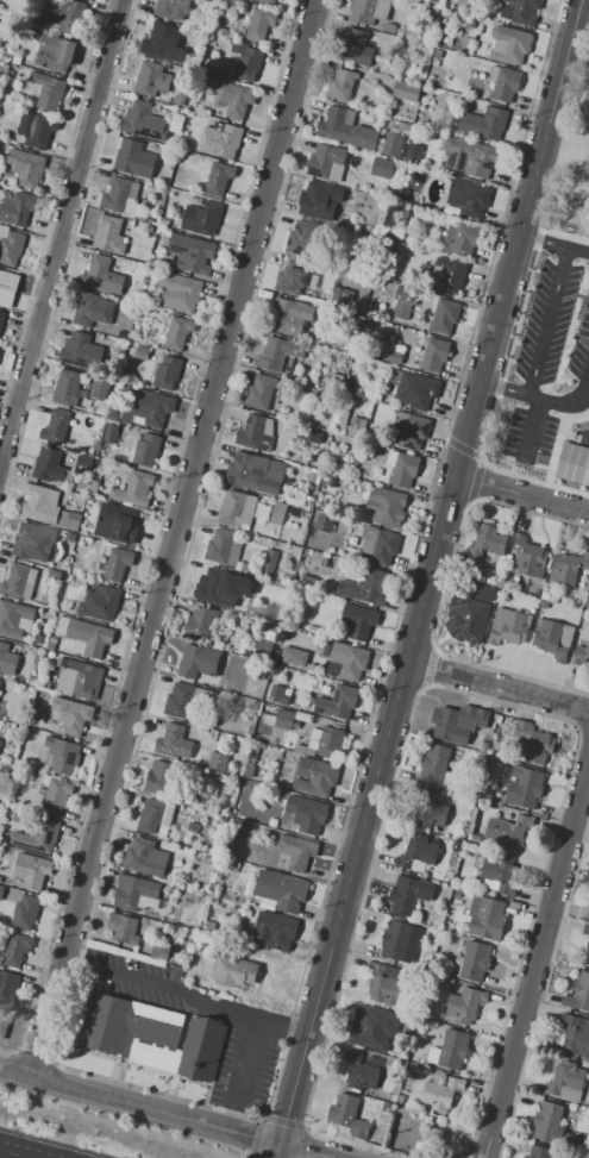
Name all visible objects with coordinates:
building: (265, 1)
building: (469, 4)
building: (171, 10)
building: (368, 11)
building: (519, 11)
building: (65, 14)
building: (432, 19)
building: (258, 24)
road: (571, 24)
road: (577, 24)
building: (389, 27)
building: (2, 31)
building: (414, 36)
road: (579, 36)
building: (468, 37)
building: (508, 44)
building: (153, 45)
building: (409, 46)
building: (353, 48)
building: (55, 54)
building: (437, 54)
building: (6, 57)
building: (245, 61)
building: (434, 62)
building: (4, 68)
building: (203, 68)
building: (11, 70)
building: (219, 74)
building: (151, 79)
building: (475, 80)
building: (503, 83)
building: (340, 84)
building: (48, 90)
building: (406, 90)
building: (230, 96)
building: (180, 100)
building: (143, 121)
building: (176, 123)
building: (483, 123)
building: (337, 125)
building: (403, 126)
building: (39, 132)
building: (363, 138)
building: (219, 139)
building: (182, 145)
building: (391, 145)
building: (153, 148)
building: (127, 156)
building: (469, 157)
building: (413, 158)
building: (324, 159)
building: (25, 167)
building: (381, 167)
building: (218, 179)
building: (118, 194)
building: (468, 198)
building: (312, 200)
building: (17, 208)
building: (201, 218)
building: (149, 220)
building: (346, 224)
building: (148, 229)
road: (61, 230)
building: (108, 234)
building: (299, 237)
building: (460, 238)
building: (163, 240)
building: (426, 242)
building: (10, 245)
road: (554, 245)
building: (433, 246)
building: (190, 253)
building: (399, 259)
building: (418, 259)
building: (450, 275)
building: (101, 276)
building: (294, 281)
building: (6, 283)
building: (178, 293)
building: (342, 295)
building: (402, 301)
building: (89, 309)
building: (289, 315)
building: (584, 315)
building: (444, 317)
building: (1, 318)
building: (178, 332)
building: (383, 348)
building: (132, 349)
building: (80, 351)
building: (142, 352)
building: (278, 353)
building: (433, 355)
building: (394, 358)
building: (167, 373)
building: (334, 381)
building: (350, 384)
building: (65, 388)
building: (412, 389)
building: (98, 390)
building: (262, 392)
road: (538, 398)
building: (151, 408)
fountain: (180, 409)
building: (115, 412)
building: (342, 418)
building: (55, 426)
building: (355, 426)
building: (411, 431)
building: (109, 433)
building: (256, 433)
building: (95, 437)
building: (311, 437)
building: (146, 449)
building: (90, 451)
building: (572, 462)
building: (83, 463)
building: (48, 465)
building: (401, 469)
building: (249, 472)
building: (68, 476)
building: (311, 477)
building: (114, 482)
building: (331, 482)
building: (82, 483)
building: (93, 488)
building: (133, 490)
road: (522, 494)
building: (39, 503)
building: (384, 507)
building: (237, 508)
building: (277, 513)
building: (67, 520)
building: (324, 522)
building: (125, 527)
building: (62, 532)
building: (71, 537)
road: (171, 538)
building: (32, 542)
building: (485, 543)
building: (378, 545)
building: (223, 547)
building: (528, 557)
building: (269, 561)
building: (118, 564)
building: (566, 568)
building: (54, 575)
building: (19, 581)
building: (308, 581)
building: (209, 586)
building: (365, 588)
building: (484, 594)
building: (545, 595)
road: (424, 596)
building: (534, 600)
building: (99, 603)
building: (587, 603)
building: (257, 611)
building: (465, 618)
building: (14, 619)
building: (358, 621)
building: (199, 624)
building: (508, 627)
building: (84, 636)
building: (550, 640)
building: (220, 645)
building: (262, 645)
building: (50, 646)
building: (581, 653)
building: (281, 656)
building: (7, 661)
building: (346, 661)
building: (198, 662)
building: (77, 678)
building: (31, 681)
road: (497, 687)
building: (278, 694)
building: (184, 699)
building: (287, 699)
building: (337, 702)
building: (253, 706)
building: (76, 719)
building: (278, 719)
building: (499, 719)
building: (457, 722)
building: (173, 743)
building: (322, 743)
building: (533, 743)
building: (484, 745)
building: (61, 756)
building: (218, 762)
building: (436, 764)
building: (249, 770)
building: (315, 776)
building: (157, 778)
building: (524, 788)
building: (56, 795)
building: (223, 801)
building: (426, 810)
building: (308, 814)
building: (153, 815)
building: (19, 816)
building: (271, 821)
building: (507, 832)
building: (37, 834)
building: (460, 835)
building: (215, 843)
building: (456, 845)
building: (296, 851)
building: (415, 852)
building: (144, 857)
building: (31, 871)
building: (500, 874)
building: (211, 880)
building: (1, 890)
building: (281, 890)
building: (132, 891)
building: (457, 893)
building: (408, 894)
building: (24, 913)
building: (588, 913)
building: (152, 914)
building: (487, 918)
building: (208, 925)
building: (121, 928)
building: (275, 929)
building: (585, 929)
building: (400, 941)
building: (15, 949)
building: (158, 952)
road: (534, 953)
building: (587, 953)
building: (472, 962)
road: (74, 963)
building: (233, 970)
building: (386, 984)
building: (8, 985)
building: (578, 993)
road: (181, 995)
building: (464, 1004)
building: (2, 1025)
road: (293, 1026)
building: (372, 1027)
building: (130, 1031)
building: (574, 1037)
building: (200, 1049)
building: (450, 1050)
road: (243, 1062)
building: (358, 1071)
road: (14, 1072)
building: (565, 1082)
building: (441, 1093)
building: (391, 1098)
building: (401, 1100)
building: (387, 1107)
road: (153, 1110)
building: (347, 1115)
road: (228, 1119)
building: (546, 1121)
traffic signals: (280, 1146)
building: (418, 1147)
road: (23, 1151)
road: (277, 1152)
road: (301, 1152)
building: (538, 1152)
building: (554, 1157)

